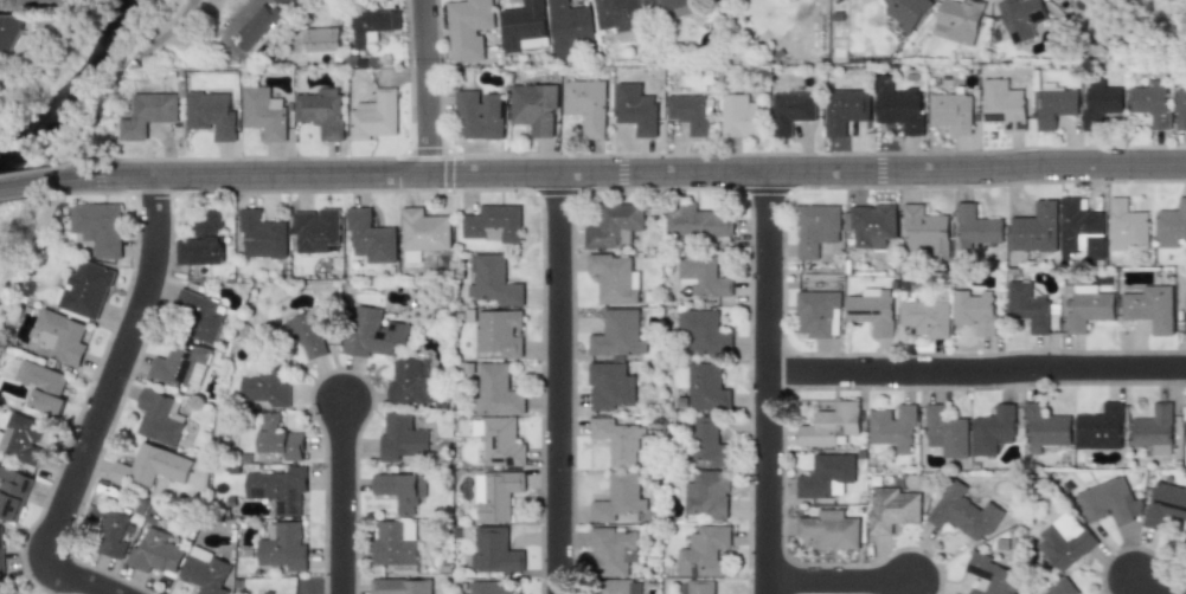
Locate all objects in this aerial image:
building: (672, 6)
road: (243, 8)
building: (906, 12)
building: (620, 18)
building: (1021, 18)
building: (959, 20)
building: (262, 21)
building: (524, 25)
building: (373, 26)
building: (569, 27)
building: (469, 28)
building: (9, 38)
building: (321, 39)
road: (115, 82)
road: (429, 88)
river: (78, 91)
building: (1100, 101)
building: (1002, 103)
building: (1152, 103)
building: (1054, 104)
building: (585, 105)
building: (898, 105)
building: (533, 108)
building: (635, 109)
building: (1180, 109)
building: (321, 110)
building: (844, 110)
building: (790, 111)
building: (951, 111)
building: (263, 112)
building: (211, 114)
building: (690, 114)
building: (146, 115)
building: (480, 115)
building: (738, 116)
building: (374, 117)
road: (628, 175)
road: (34, 185)
building: (697, 222)
building: (492, 224)
building: (871, 224)
building: (614, 225)
building: (1169, 226)
building: (98, 227)
building: (976, 227)
building: (1128, 227)
building: (815, 228)
building: (1036, 228)
building: (1082, 228)
building: (924, 231)
building: (316, 232)
building: (262, 234)
building: (422, 234)
building: (370, 238)
building: (203, 241)
building: (701, 276)
building: (613, 278)
building: (492, 280)
building: (85, 290)
building: (1027, 306)
building: (1088, 309)
building: (1149, 309)
building: (871, 311)
building: (975, 311)
building: (1184, 311)
building: (818, 314)
building: (199, 316)
building: (924, 318)
building: (500, 331)
building: (703, 331)
building: (616, 334)
building: (304, 335)
building: (60, 337)
building: (389, 355)
building: (180, 364)
road: (977, 370)
road: (116, 373)
building: (265, 382)
road: (769, 383)
road: (560, 385)
building: (608, 387)
building: (40, 388)
building: (705, 388)
building: (496, 390)
building: (159, 417)
building: (829, 426)
building: (1044, 427)
building: (1101, 427)
building: (895, 428)
building: (993, 428)
building: (1185, 430)
building: (945, 431)
building: (1154, 431)
building: (402, 437)
building: (615, 438)
building: (21, 439)
building: (276, 440)
building: (498, 441)
building: (707, 444)
building: (149, 466)
building: (826, 476)
building: (277, 489)
building: (399, 489)
building: (13, 493)
building: (496, 493)
building: (706, 496)
building: (615, 497)
road: (344, 499)
building: (1109, 502)
building: (1163, 504)
building: (891, 508)
building: (962, 512)
building: (110, 530)
building: (829, 530)
building: (1065, 541)
building: (1184, 543)
building: (395, 544)
building: (283, 547)
building: (1, 549)
building: (610, 549)
building: (494, 550)
building: (703, 550)
building: (154, 551)
building: (205, 570)
building: (989, 575)
road: (78, 579)
road: (840, 582)
building: (399, 586)
building: (491, 587)
building: (617, 587)
building: (701, 587)
road: (1149, 587)
building: (1060, 588)
building: (261, 593)

